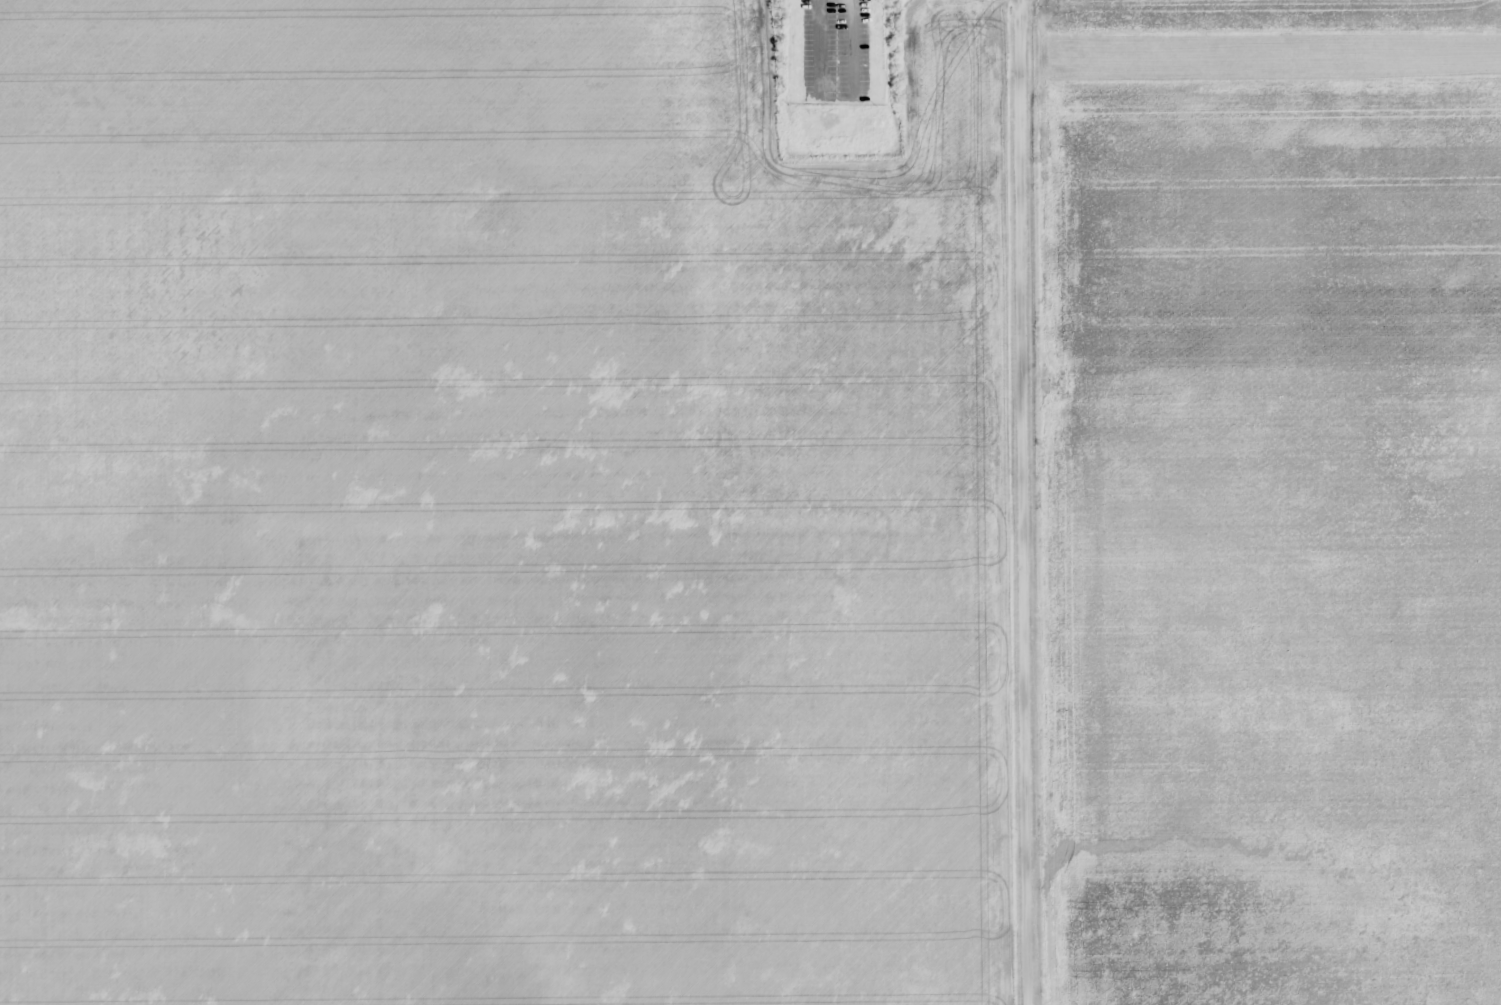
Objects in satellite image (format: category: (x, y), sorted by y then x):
airport runway: (1276, 56)
road: (1021, 502)

